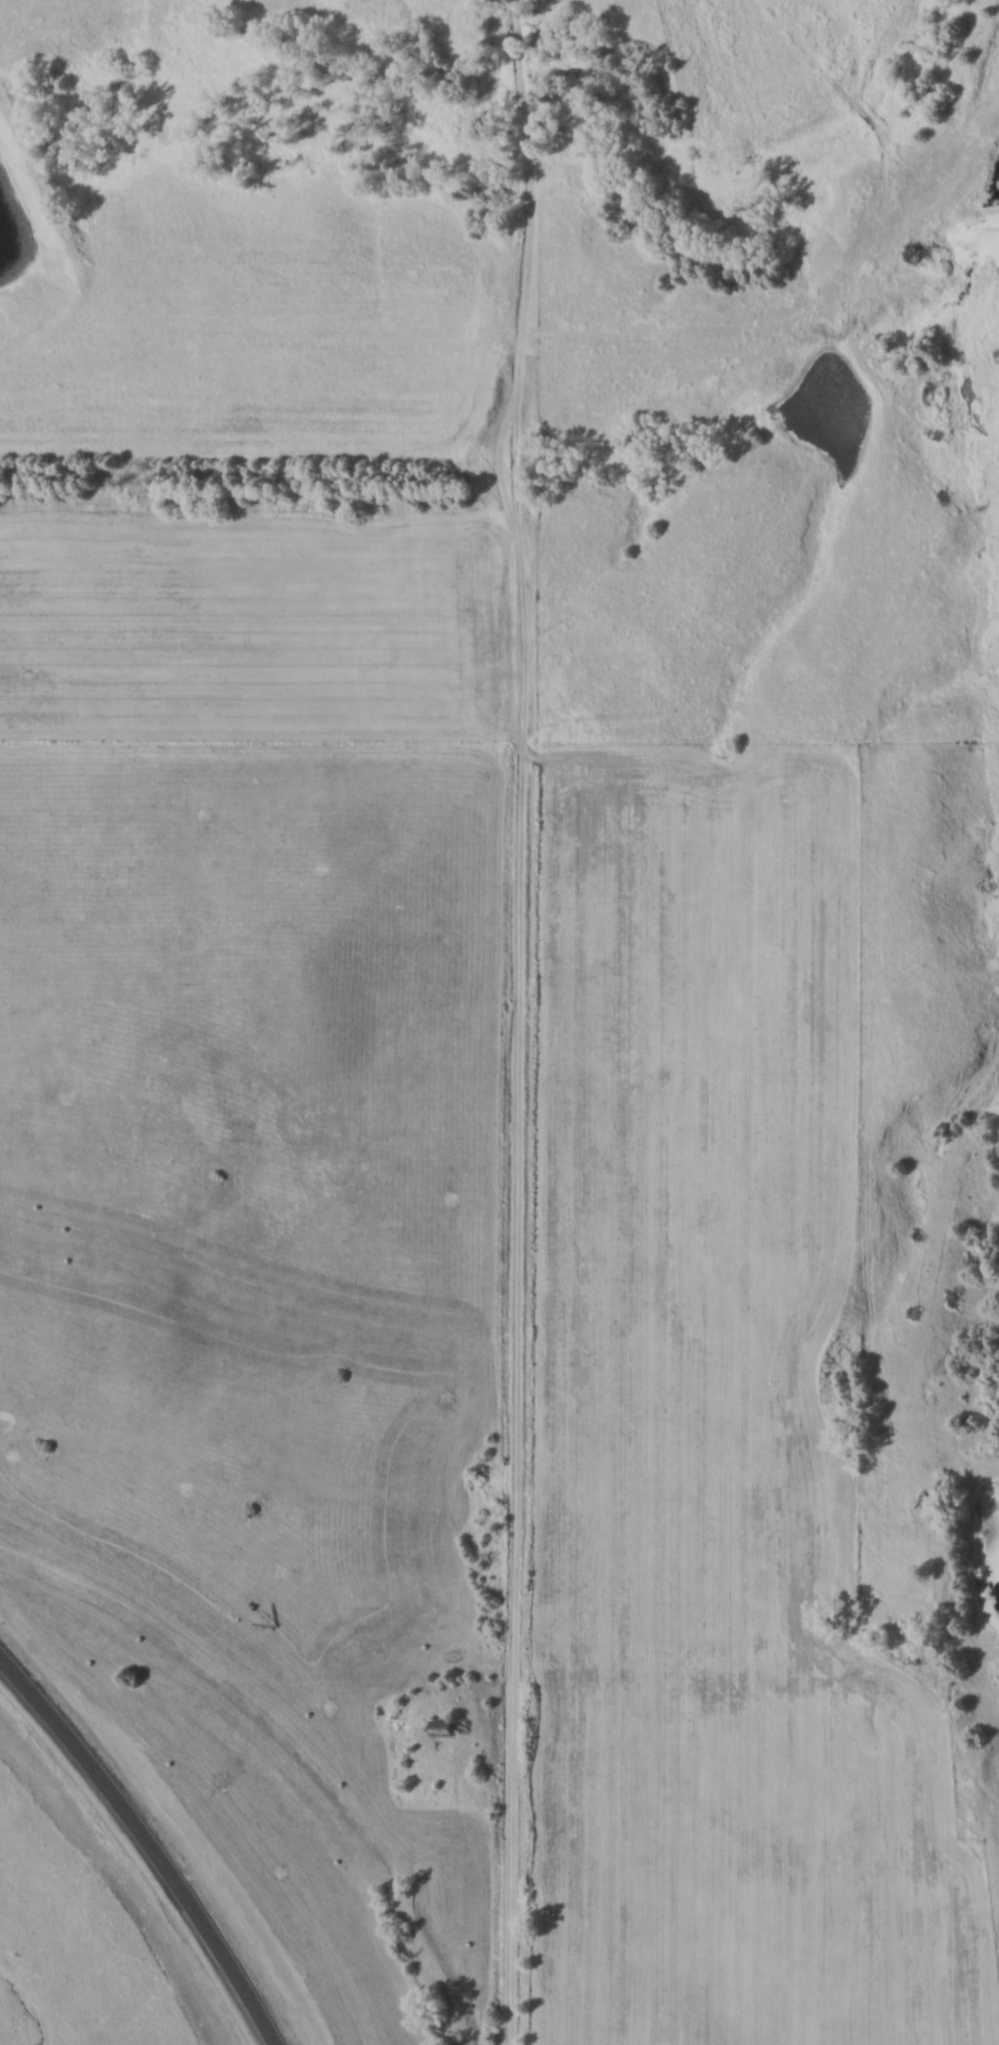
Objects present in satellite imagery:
road: (517, 1022)
building: (444, 1729)
road: (145, 1848)

